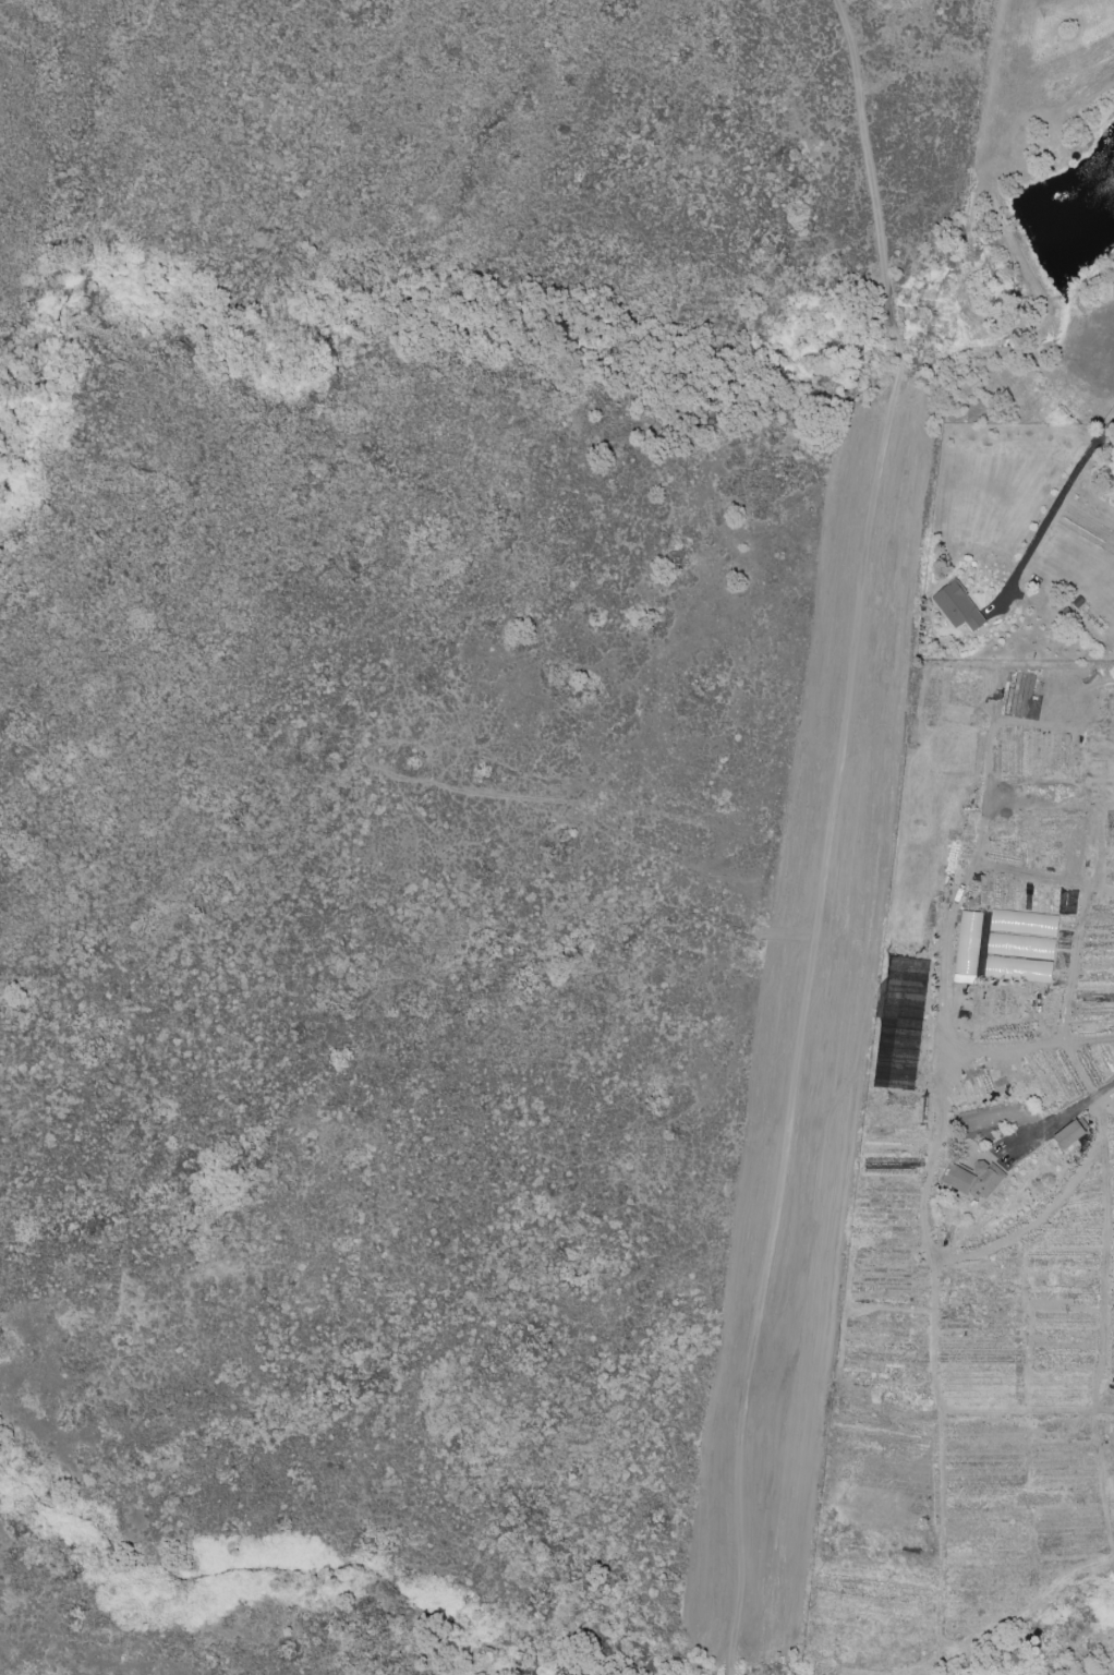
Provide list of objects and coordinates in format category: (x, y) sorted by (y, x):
road: (1109, 423)
road: (1049, 516)
building: (958, 607)
road: (828, 834)
building: (1024, 924)
building: (1020, 947)
building: (1018, 969)
road: (1080, 1104)
building: (1069, 1134)
building: (974, 1180)

